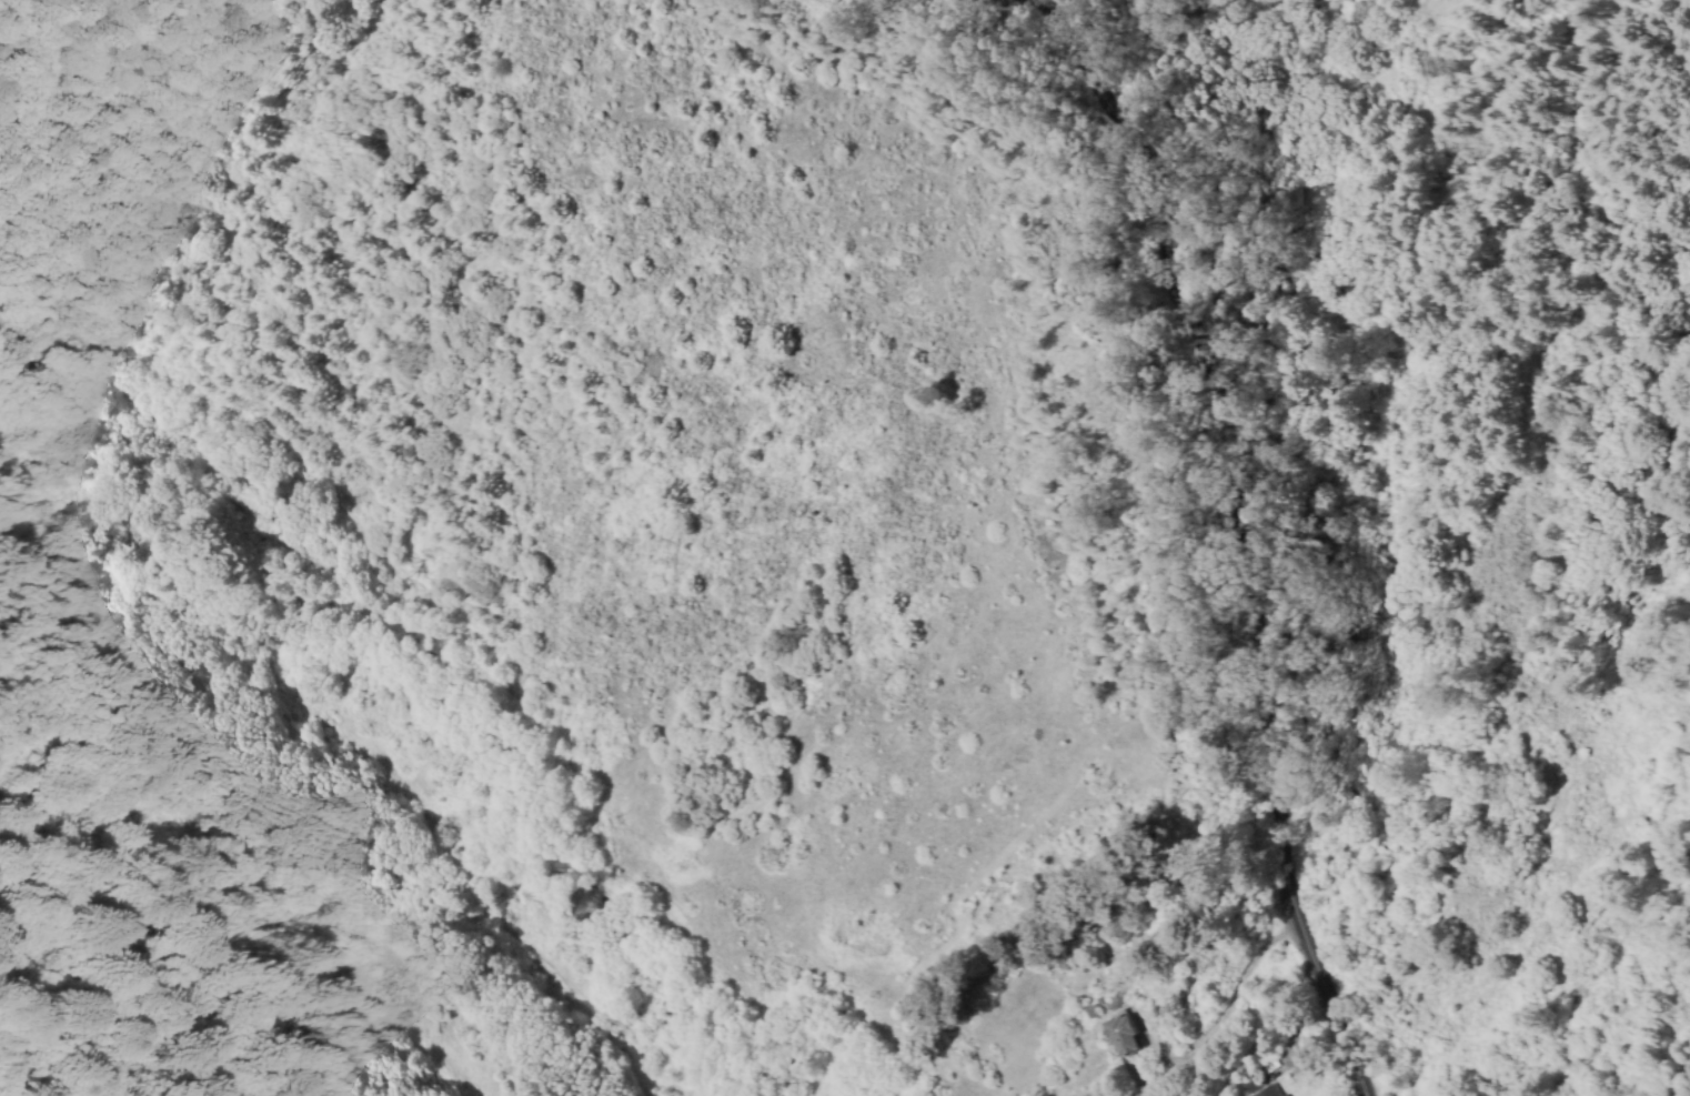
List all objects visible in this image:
road: (1229, 519)
road: (413, 574)
road: (1173, 921)
building: (1128, 1035)
building: (1265, 1093)

